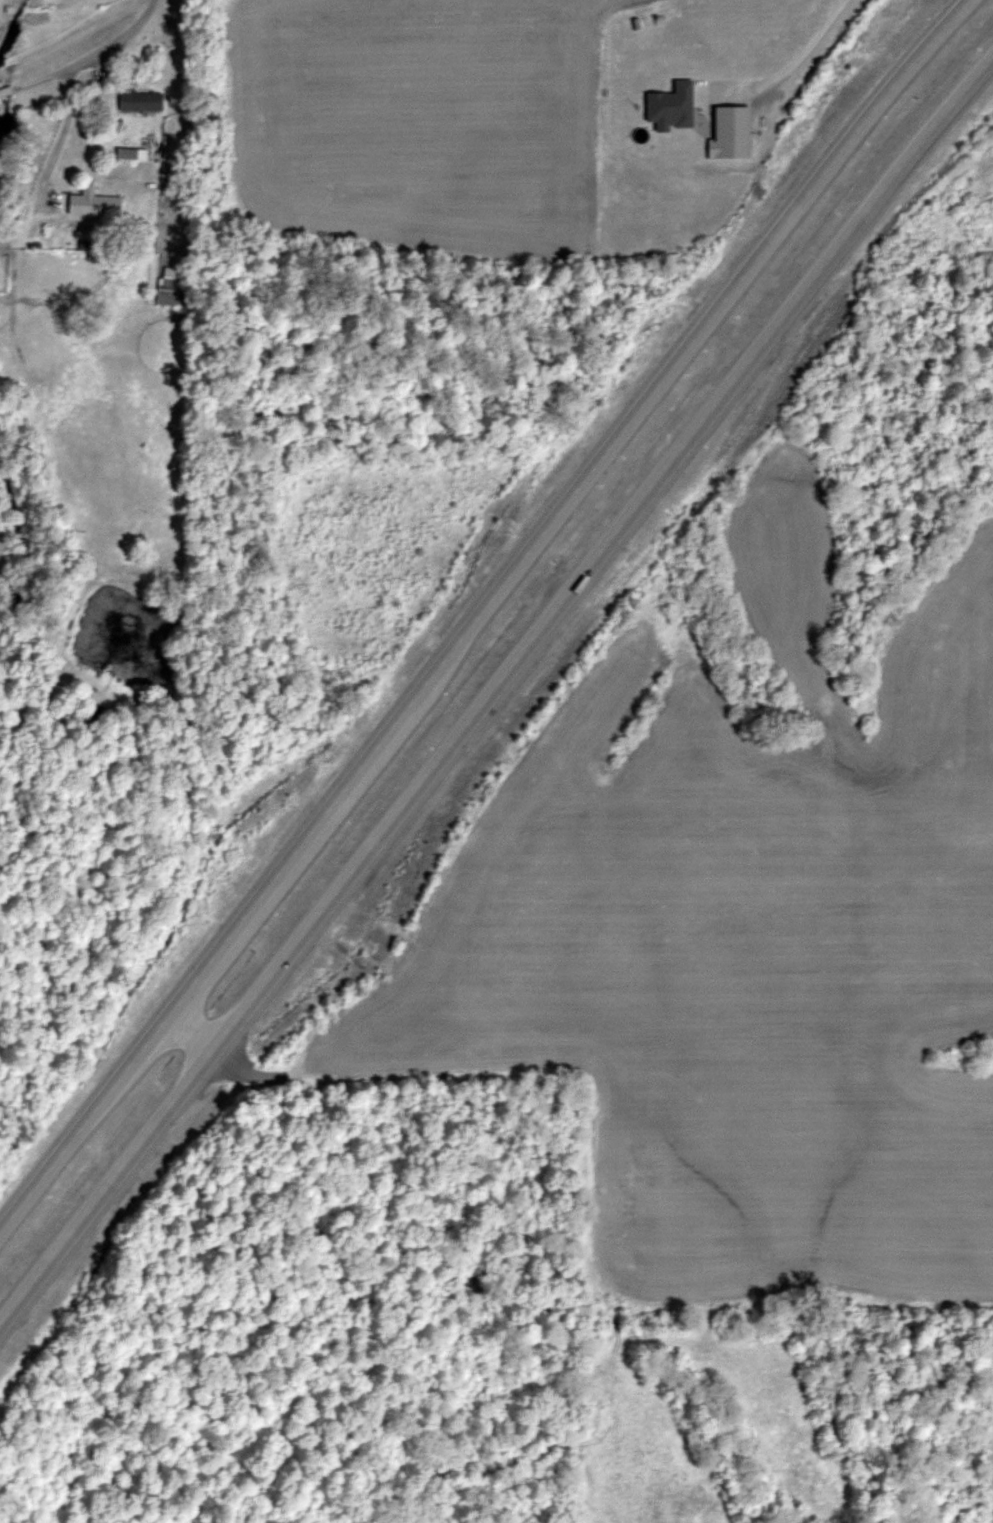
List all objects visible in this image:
road: (801, 46)
road: (83, 54)
building: (142, 101)
building: (97, 205)
building: (169, 280)
road: (21, 354)
road: (475, 599)
road: (492, 678)

